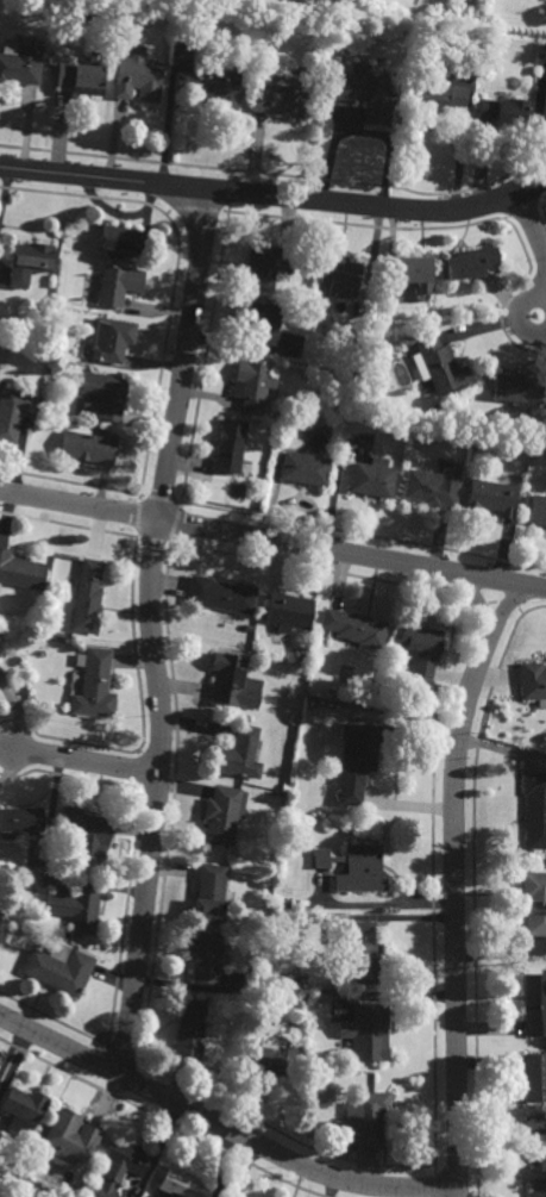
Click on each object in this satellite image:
building: (20, 66)
building: (138, 74)
building: (82, 75)
building: (212, 86)
building: (326, 87)
building: (364, 92)
building: (287, 95)
building: (437, 96)
building: (544, 99)
building: (503, 111)
road: (276, 195)
road: (532, 223)
building: (123, 238)
building: (29, 262)
building: (471, 263)
building: (266, 266)
building: (412, 268)
building: (339, 270)
building: (117, 285)
building: (306, 300)
road: (520, 316)
building: (262, 322)
building: (357, 333)
building: (111, 339)
road: (164, 339)
building: (438, 364)
building: (252, 385)
building: (517, 388)
building: (103, 395)
building: (350, 398)
building: (346, 411)
building: (13, 413)
building: (230, 447)
building: (87, 449)
building: (539, 451)
building: (306, 469)
building: (375, 479)
building: (432, 488)
building: (491, 498)
building: (536, 511)
road: (272, 538)
road: (133, 565)
building: (20, 573)
building: (221, 596)
building: (88, 599)
road: (478, 603)
building: (289, 612)
building: (356, 629)
road: (150, 631)
building: (257, 648)
building: (419, 652)
building: (234, 684)
building: (533, 684)
building: (95, 686)
building: (330, 692)
building: (297, 721)
building: (363, 754)
building: (238, 756)
road: (84, 760)
building: (535, 810)
building: (221, 815)
building: (20, 819)
building: (83, 834)
building: (268, 855)
building: (321, 856)
building: (362, 868)
road: (454, 878)
building: (211, 892)
building: (534, 902)
building: (283, 903)
building: (76, 909)
building: (363, 955)
building: (206, 958)
building: (59, 968)
building: (250, 980)
building: (534, 1003)
building: (190, 1029)
building: (366, 1030)
building: (277, 1059)
building: (319, 1073)
building: (534, 1077)
building: (23, 1111)
building: (365, 1118)
road: (222, 1126)
building: (534, 1128)
building: (75, 1130)
building: (19, 1161)
building: (120, 1165)
building: (13, 1179)
building: (180, 1184)
building: (538, 1187)
building: (18, 1189)

